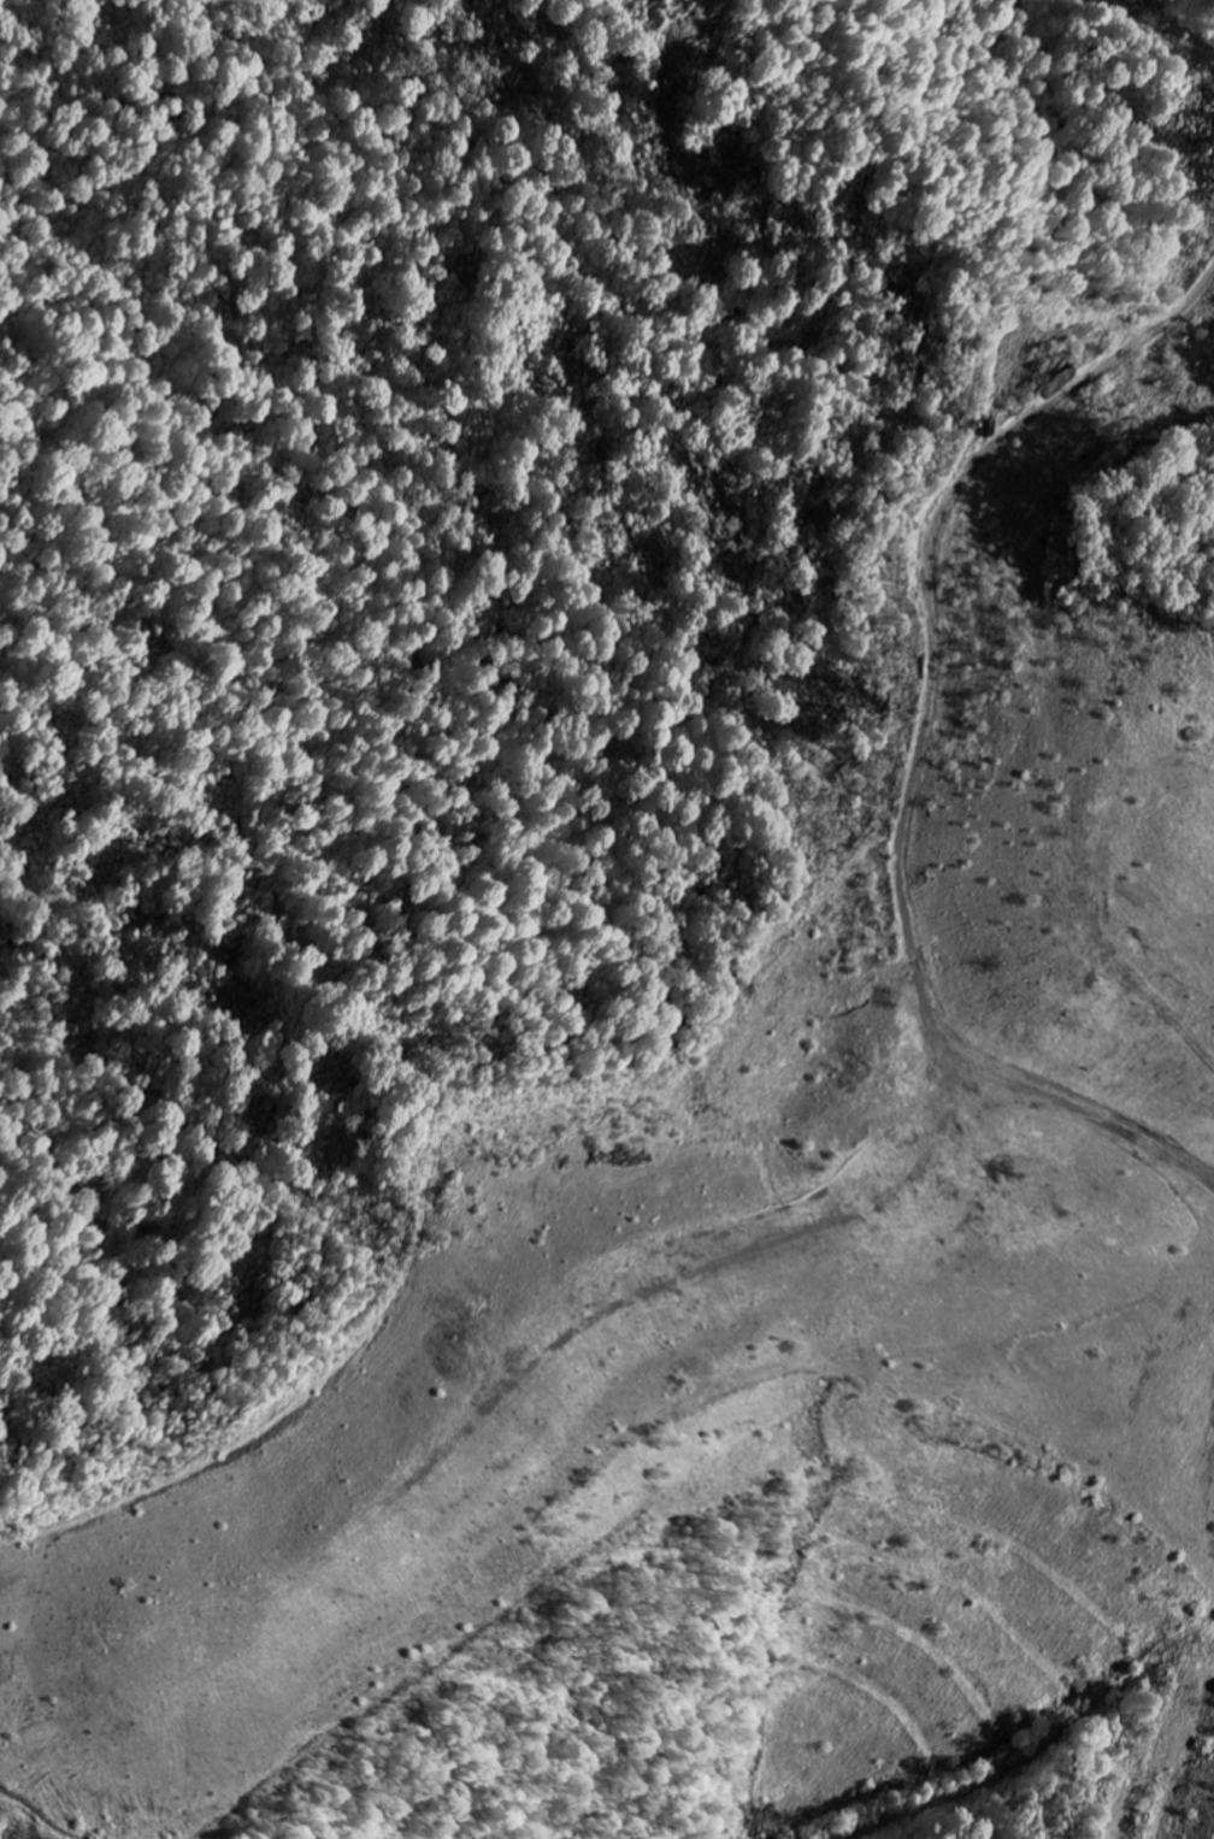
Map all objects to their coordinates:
road: (1114, 541)

